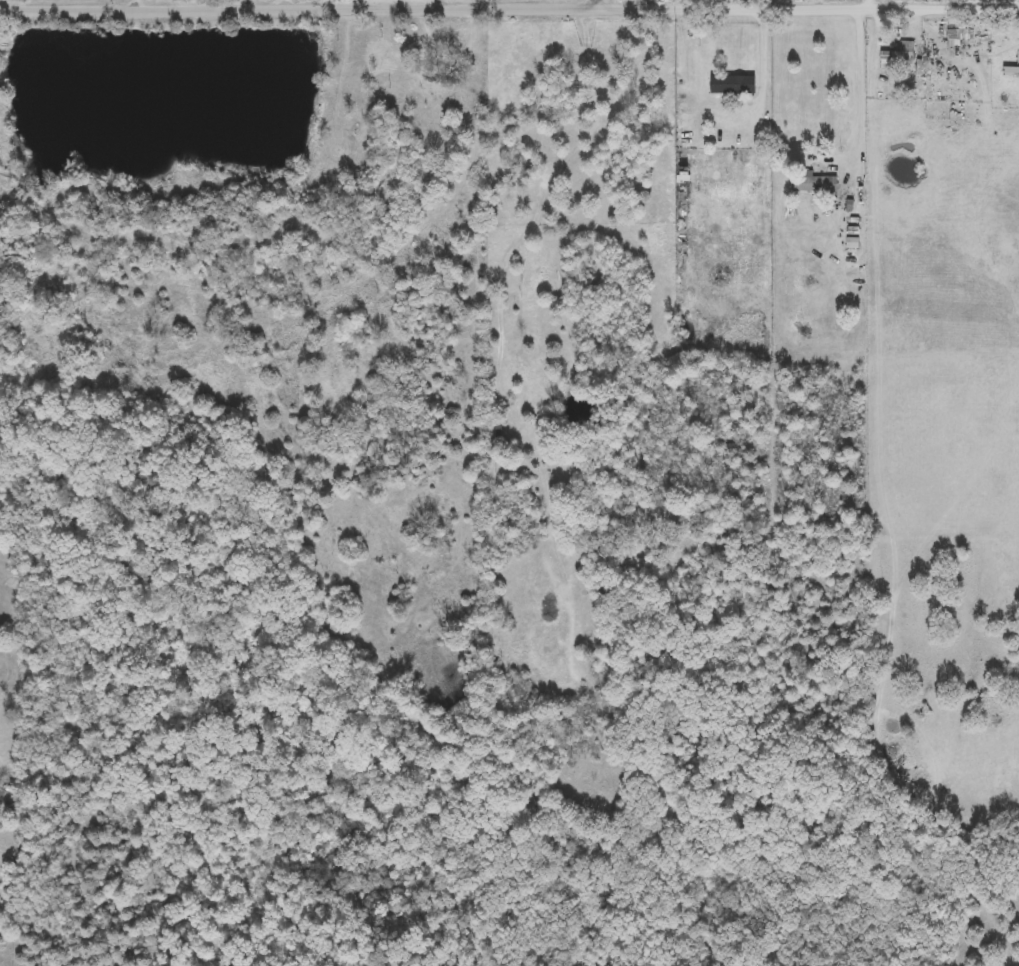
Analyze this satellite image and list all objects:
road: (606, 2)
road: (136, 3)
road: (250, 3)
road: (365, 3)
road: (876, 3)
road: (303, 6)
road: (813, 7)
road: (480, 49)
building: (897, 56)
building: (1011, 72)
building: (367, 77)
building: (733, 85)
building: (444, 86)
road: (866, 102)
building: (815, 183)

